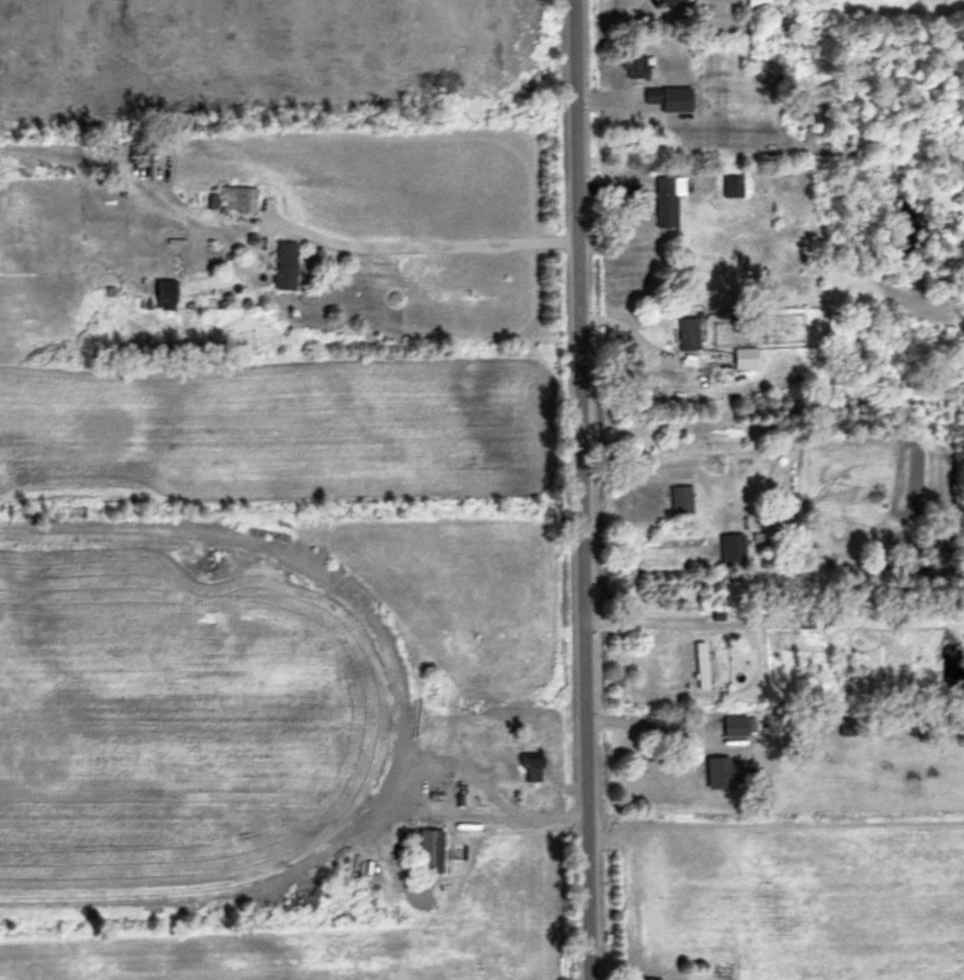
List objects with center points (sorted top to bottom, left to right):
building: (670, 1)
building: (757, 2)
building: (640, 64)
building: (672, 95)
building: (241, 196)
building: (669, 197)
road: (413, 242)
building: (287, 262)
building: (168, 291)
building: (691, 331)
road: (582, 490)
building: (684, 497)
building: (734, 547)
road: (642, 619)
building: (808, 620)
building: (704, 662)
road: (640, 721)
building: (737, 724)
building: (533, 762)
building: (721, 770)
building: (433, 848)
building: (653, 978)

